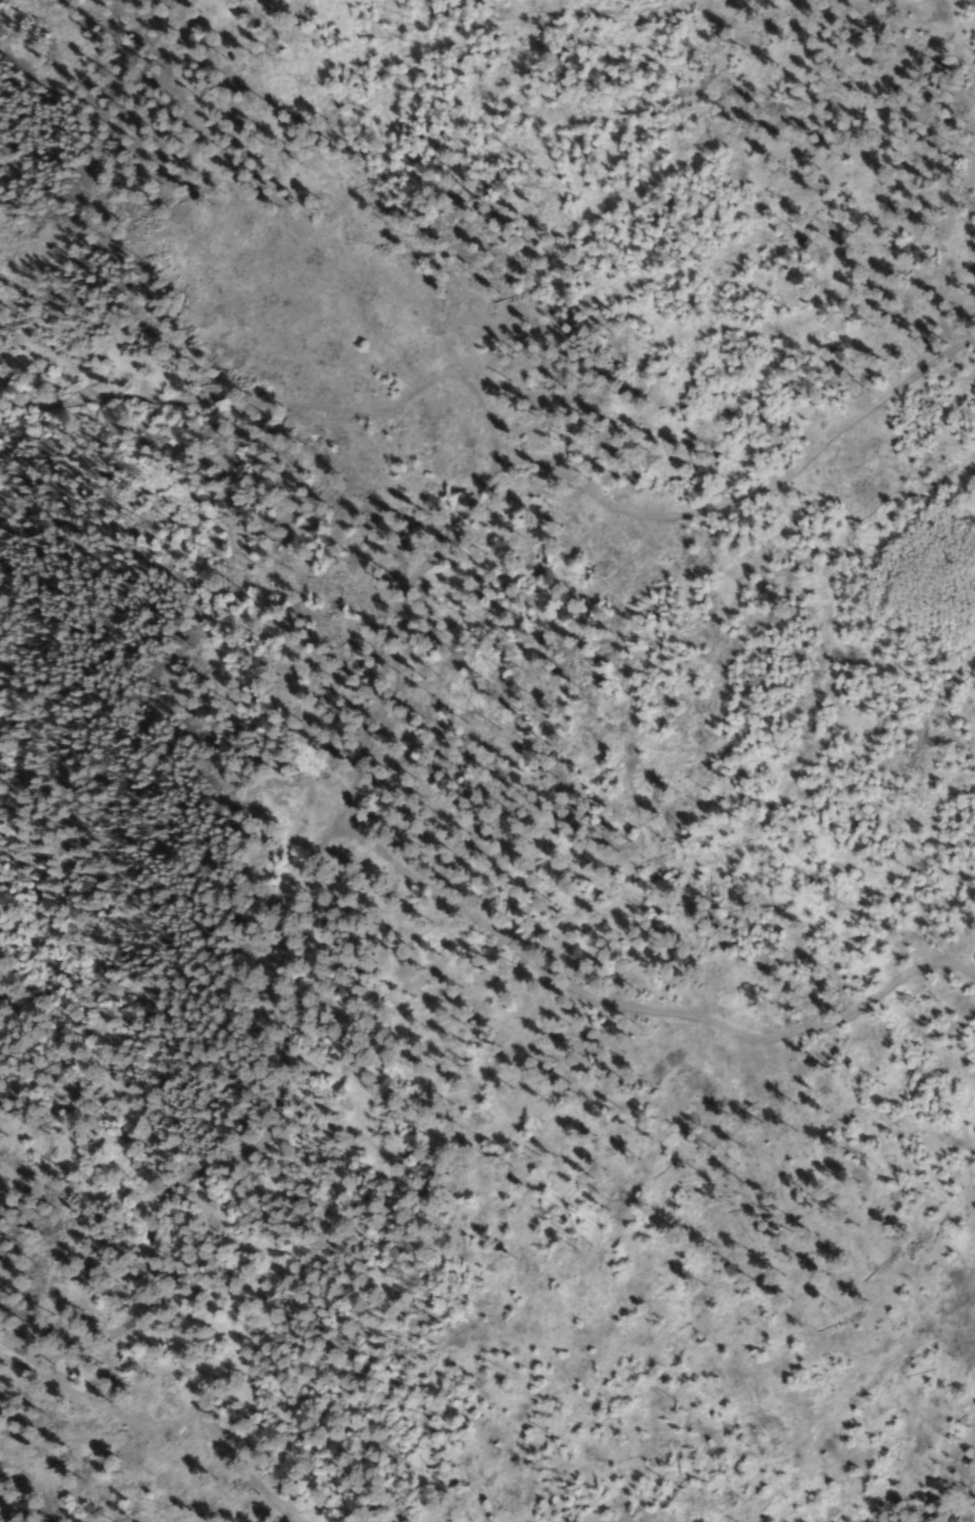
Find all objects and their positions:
road: (289, 417)
road: (381, 723)

